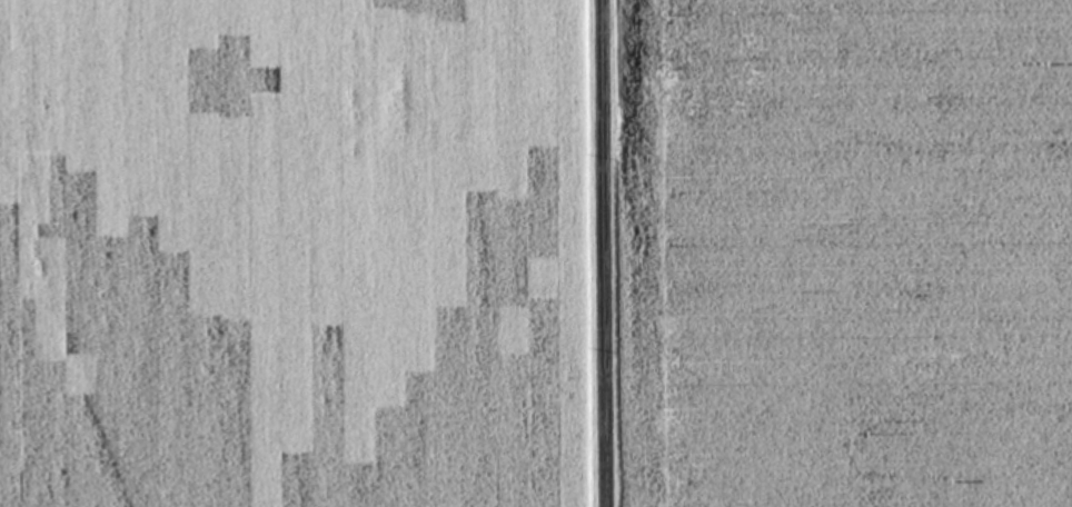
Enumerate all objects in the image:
road: (605, 254)

